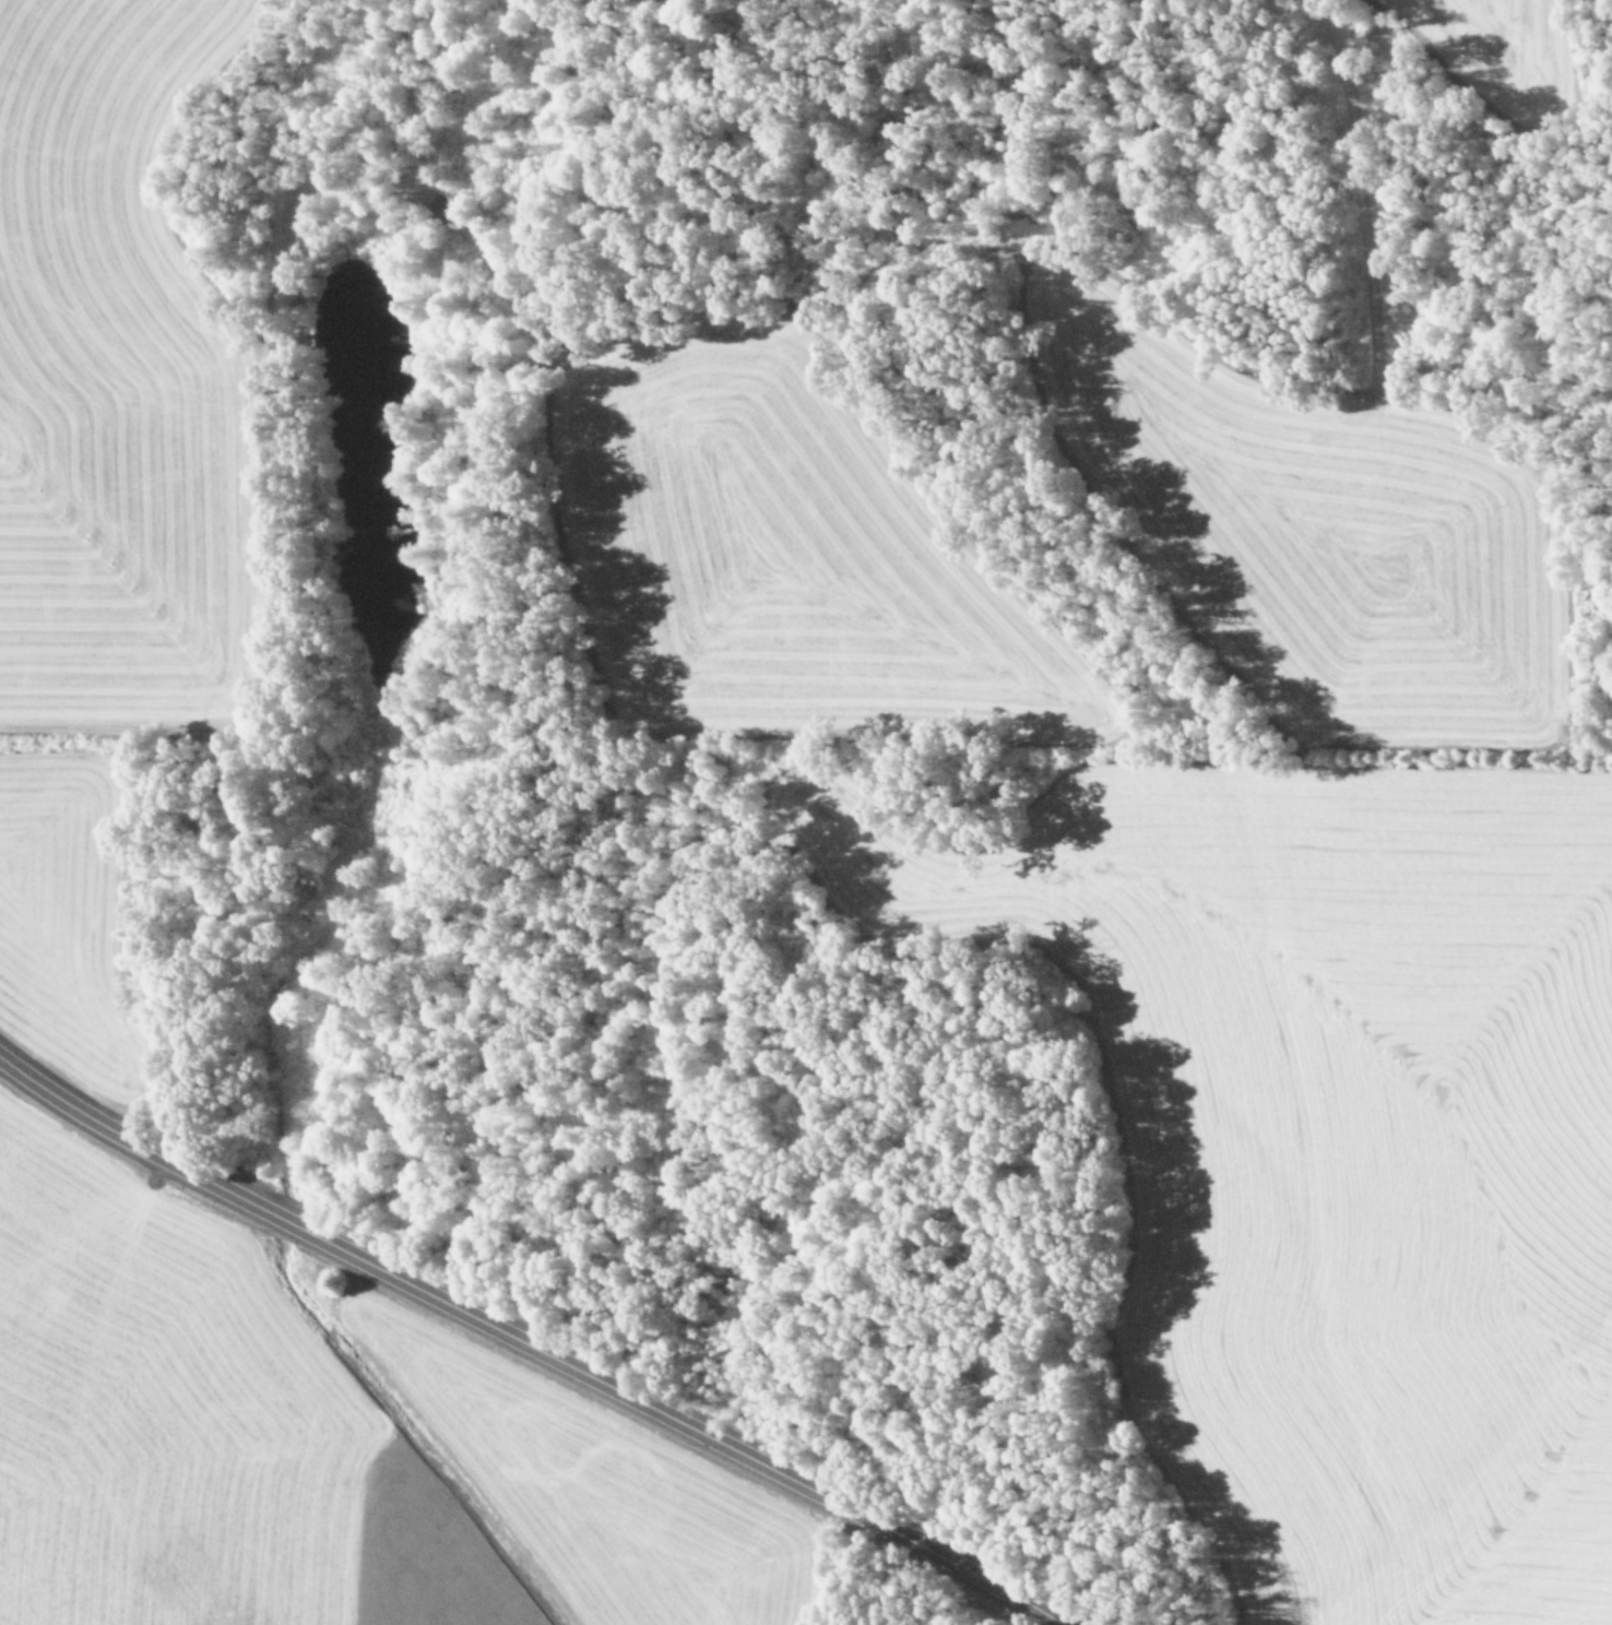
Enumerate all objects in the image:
crop: (1474, 37)
crop: (93, 514)
crop: (1324, 1151)
road: (524, 1345)
crop: (306, 1440)

